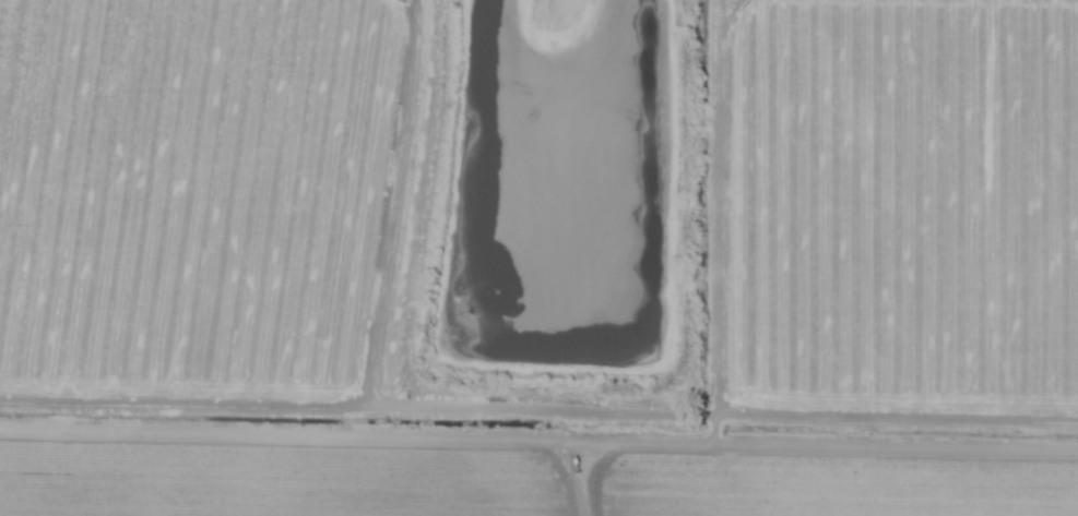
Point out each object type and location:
crop: (193, 200)

